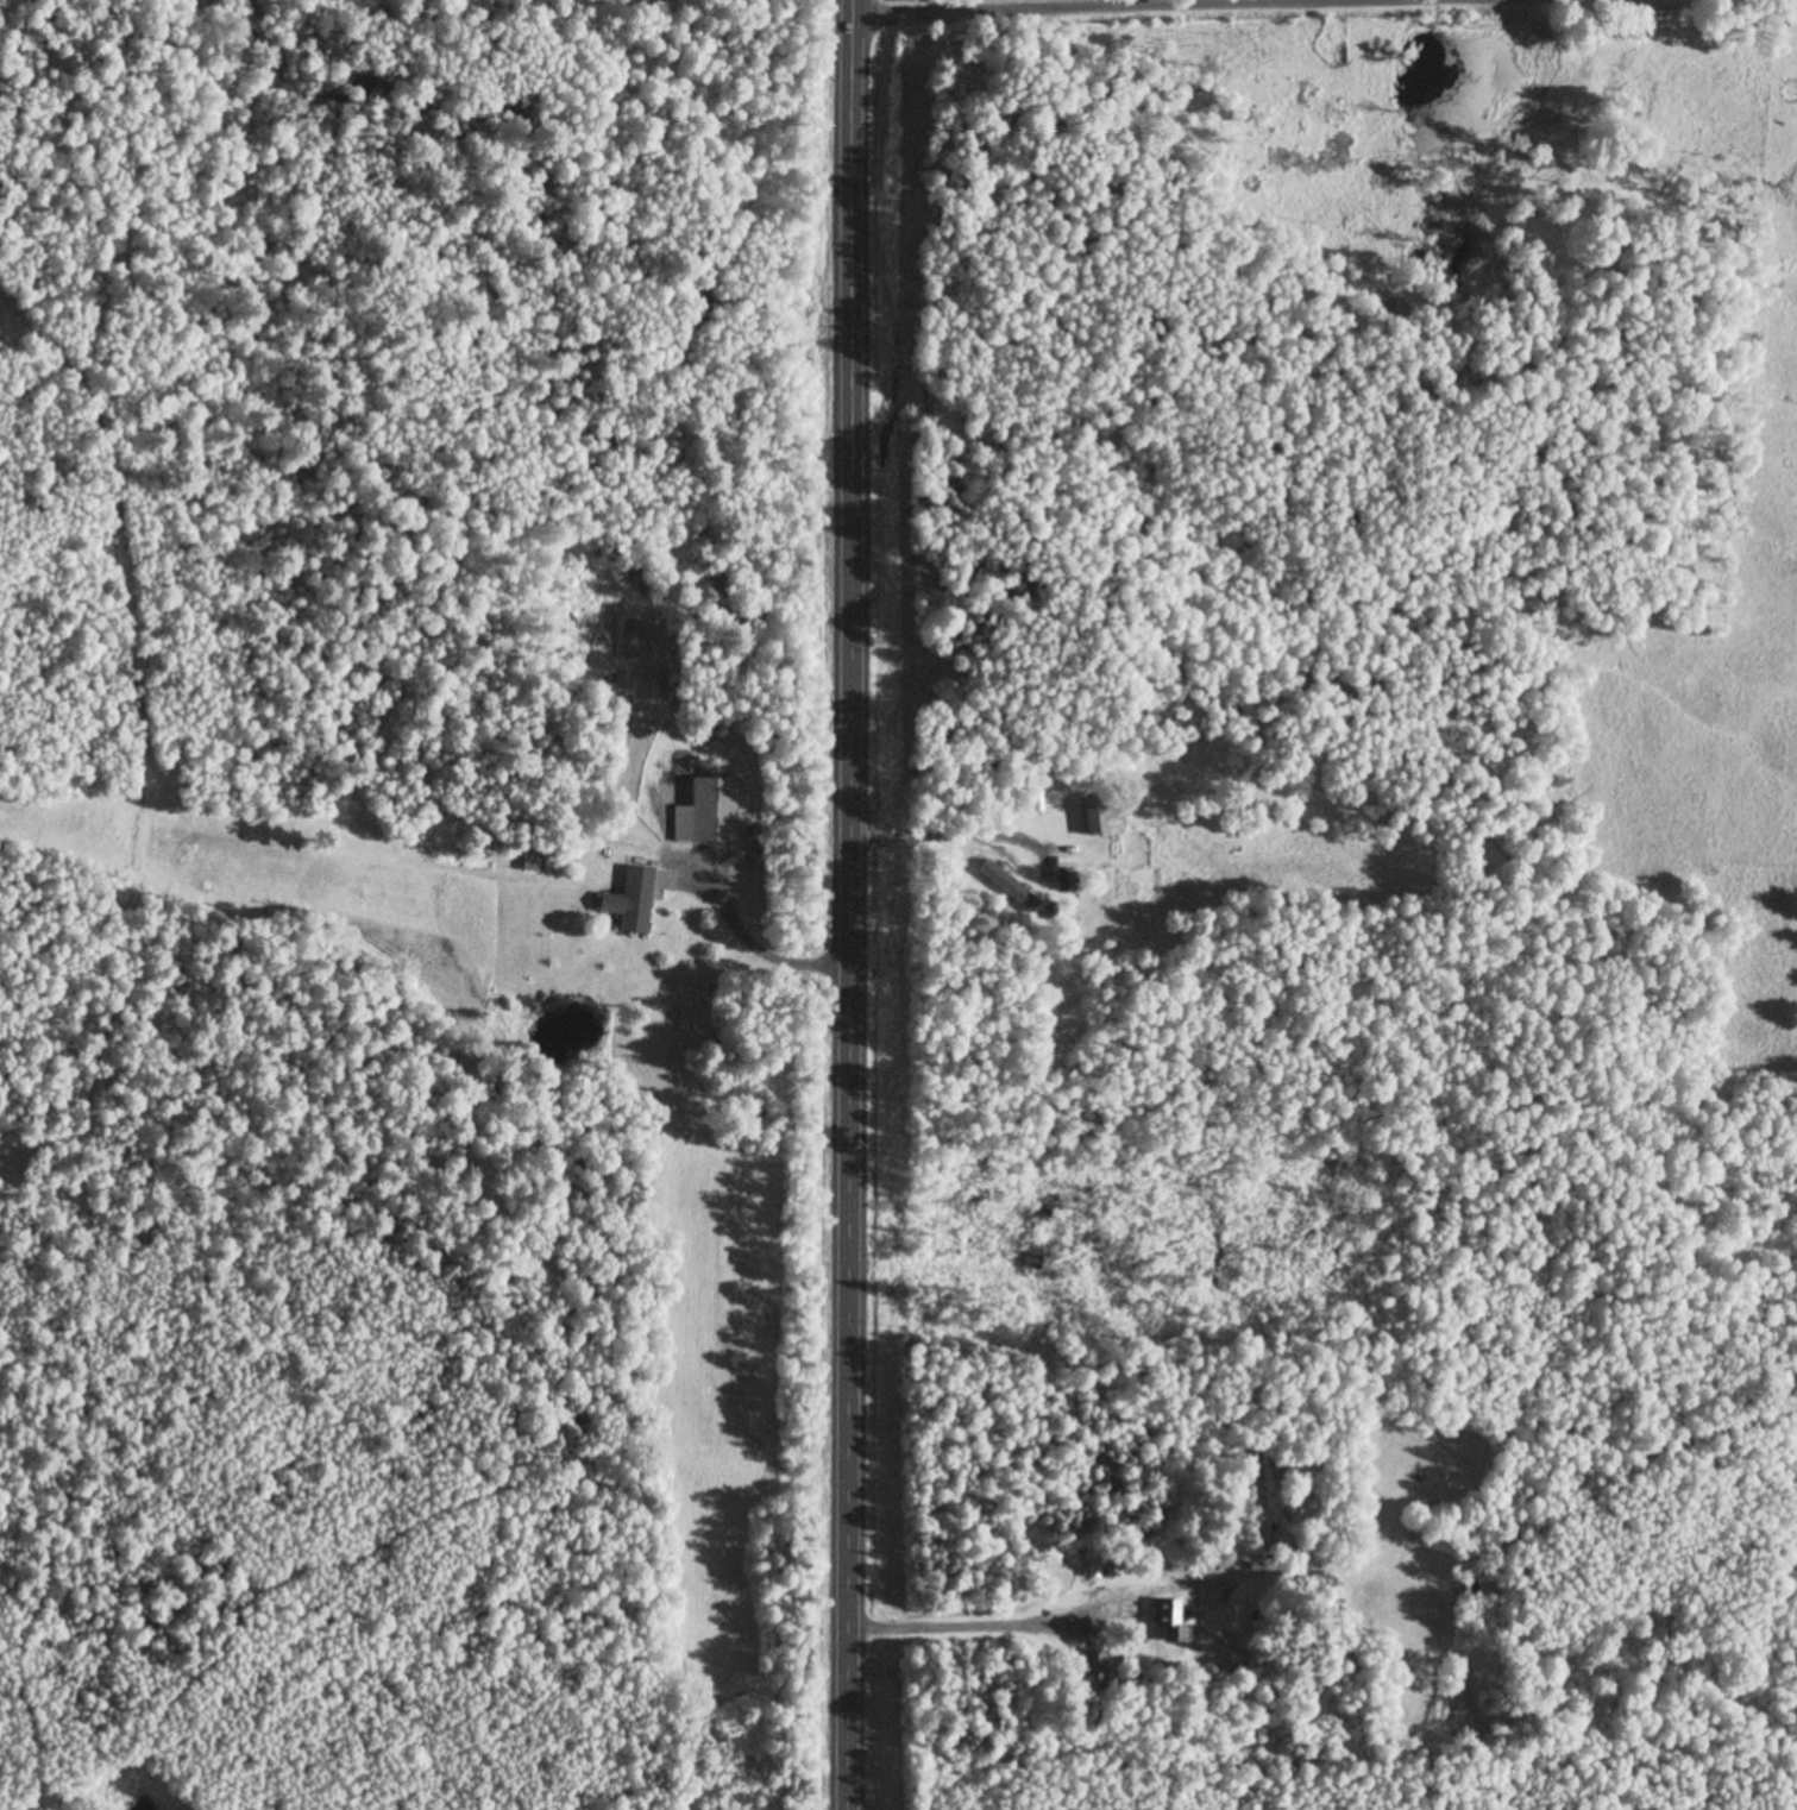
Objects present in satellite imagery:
crop: (947, 1)
road: (1229, 10)
building: (708, 810)
building: (1101, 811)
road: (921, 840)
building: (532, 856)
building: (1063, 861)
building: (1066, 880)
building: (1007, 884)
building: (632, 898)
road: (850, 905)
building: (1049, 909)
road: (758, 955)
building: (710, 987)
building: (1095, 1570)
building: (1168, 1619)
road: (956, 1624)
building: (1095, 1667)

